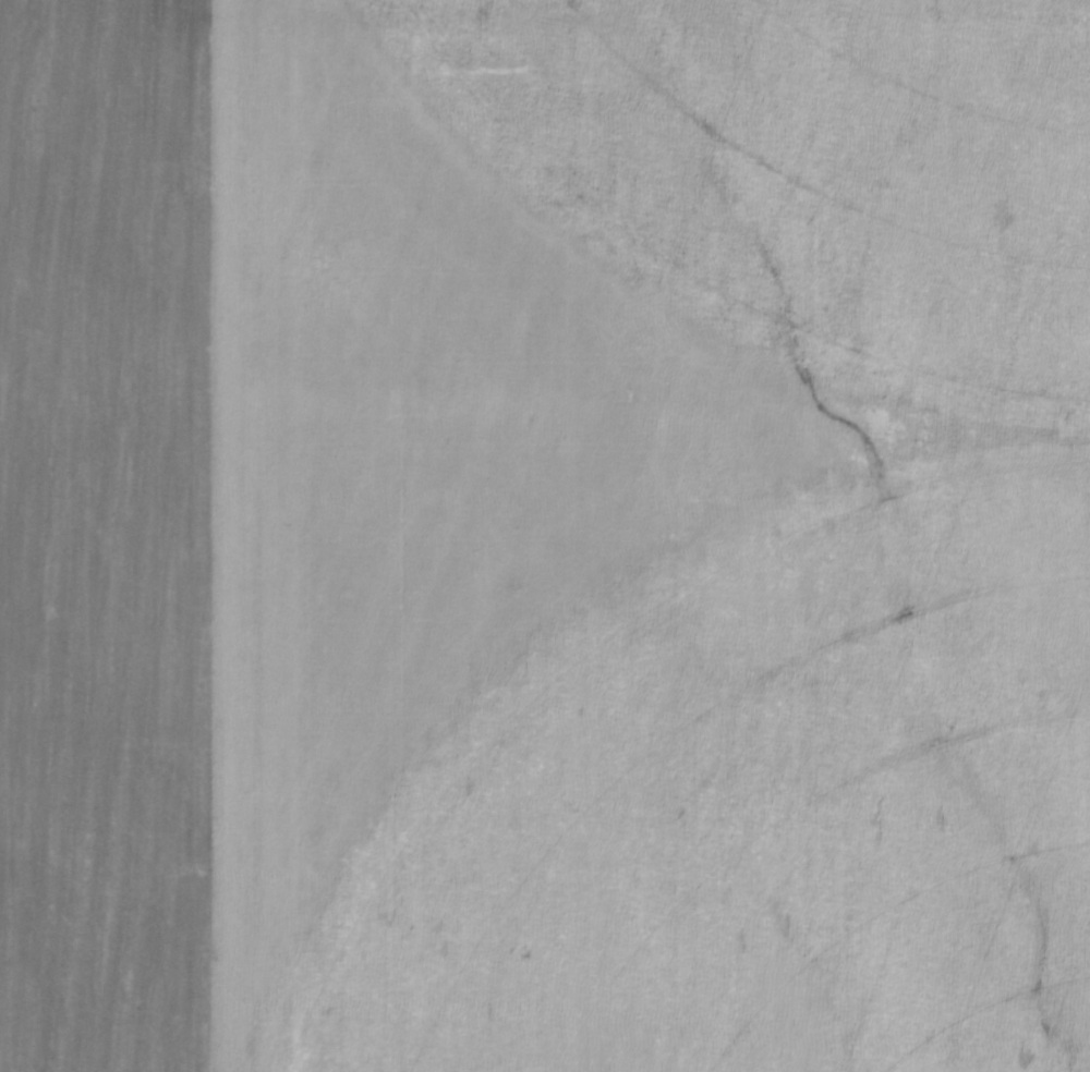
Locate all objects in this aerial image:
crop: (545, 536)

